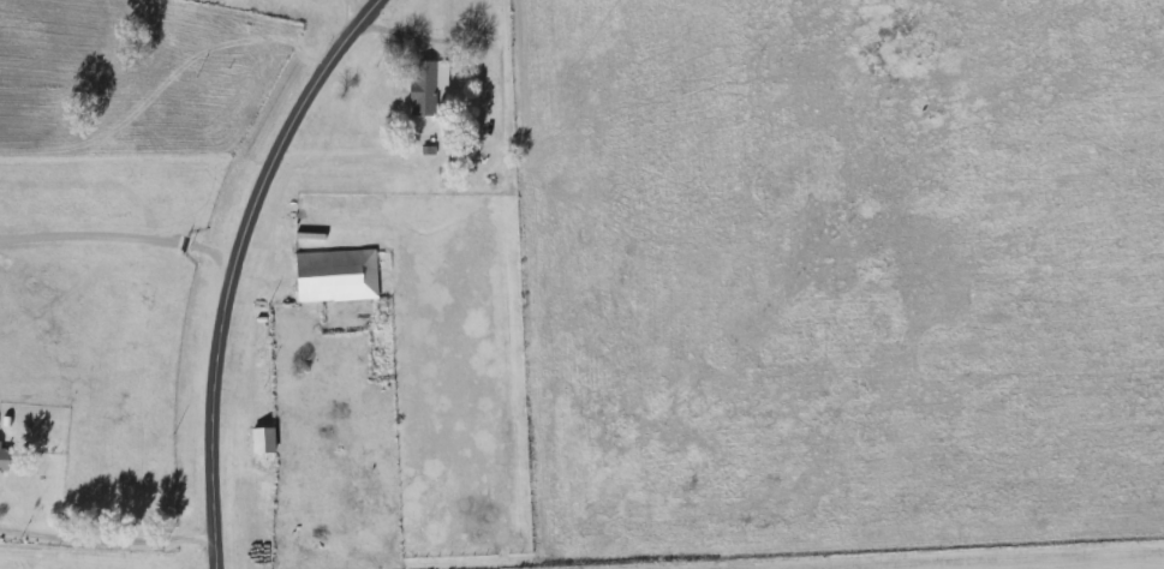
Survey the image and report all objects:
road: (351, 12)
building: (428, 86)
road: (239, 265)
building: (338, 276)
building: (264, 441)
building: (5, 456)
road: (109, 551)

